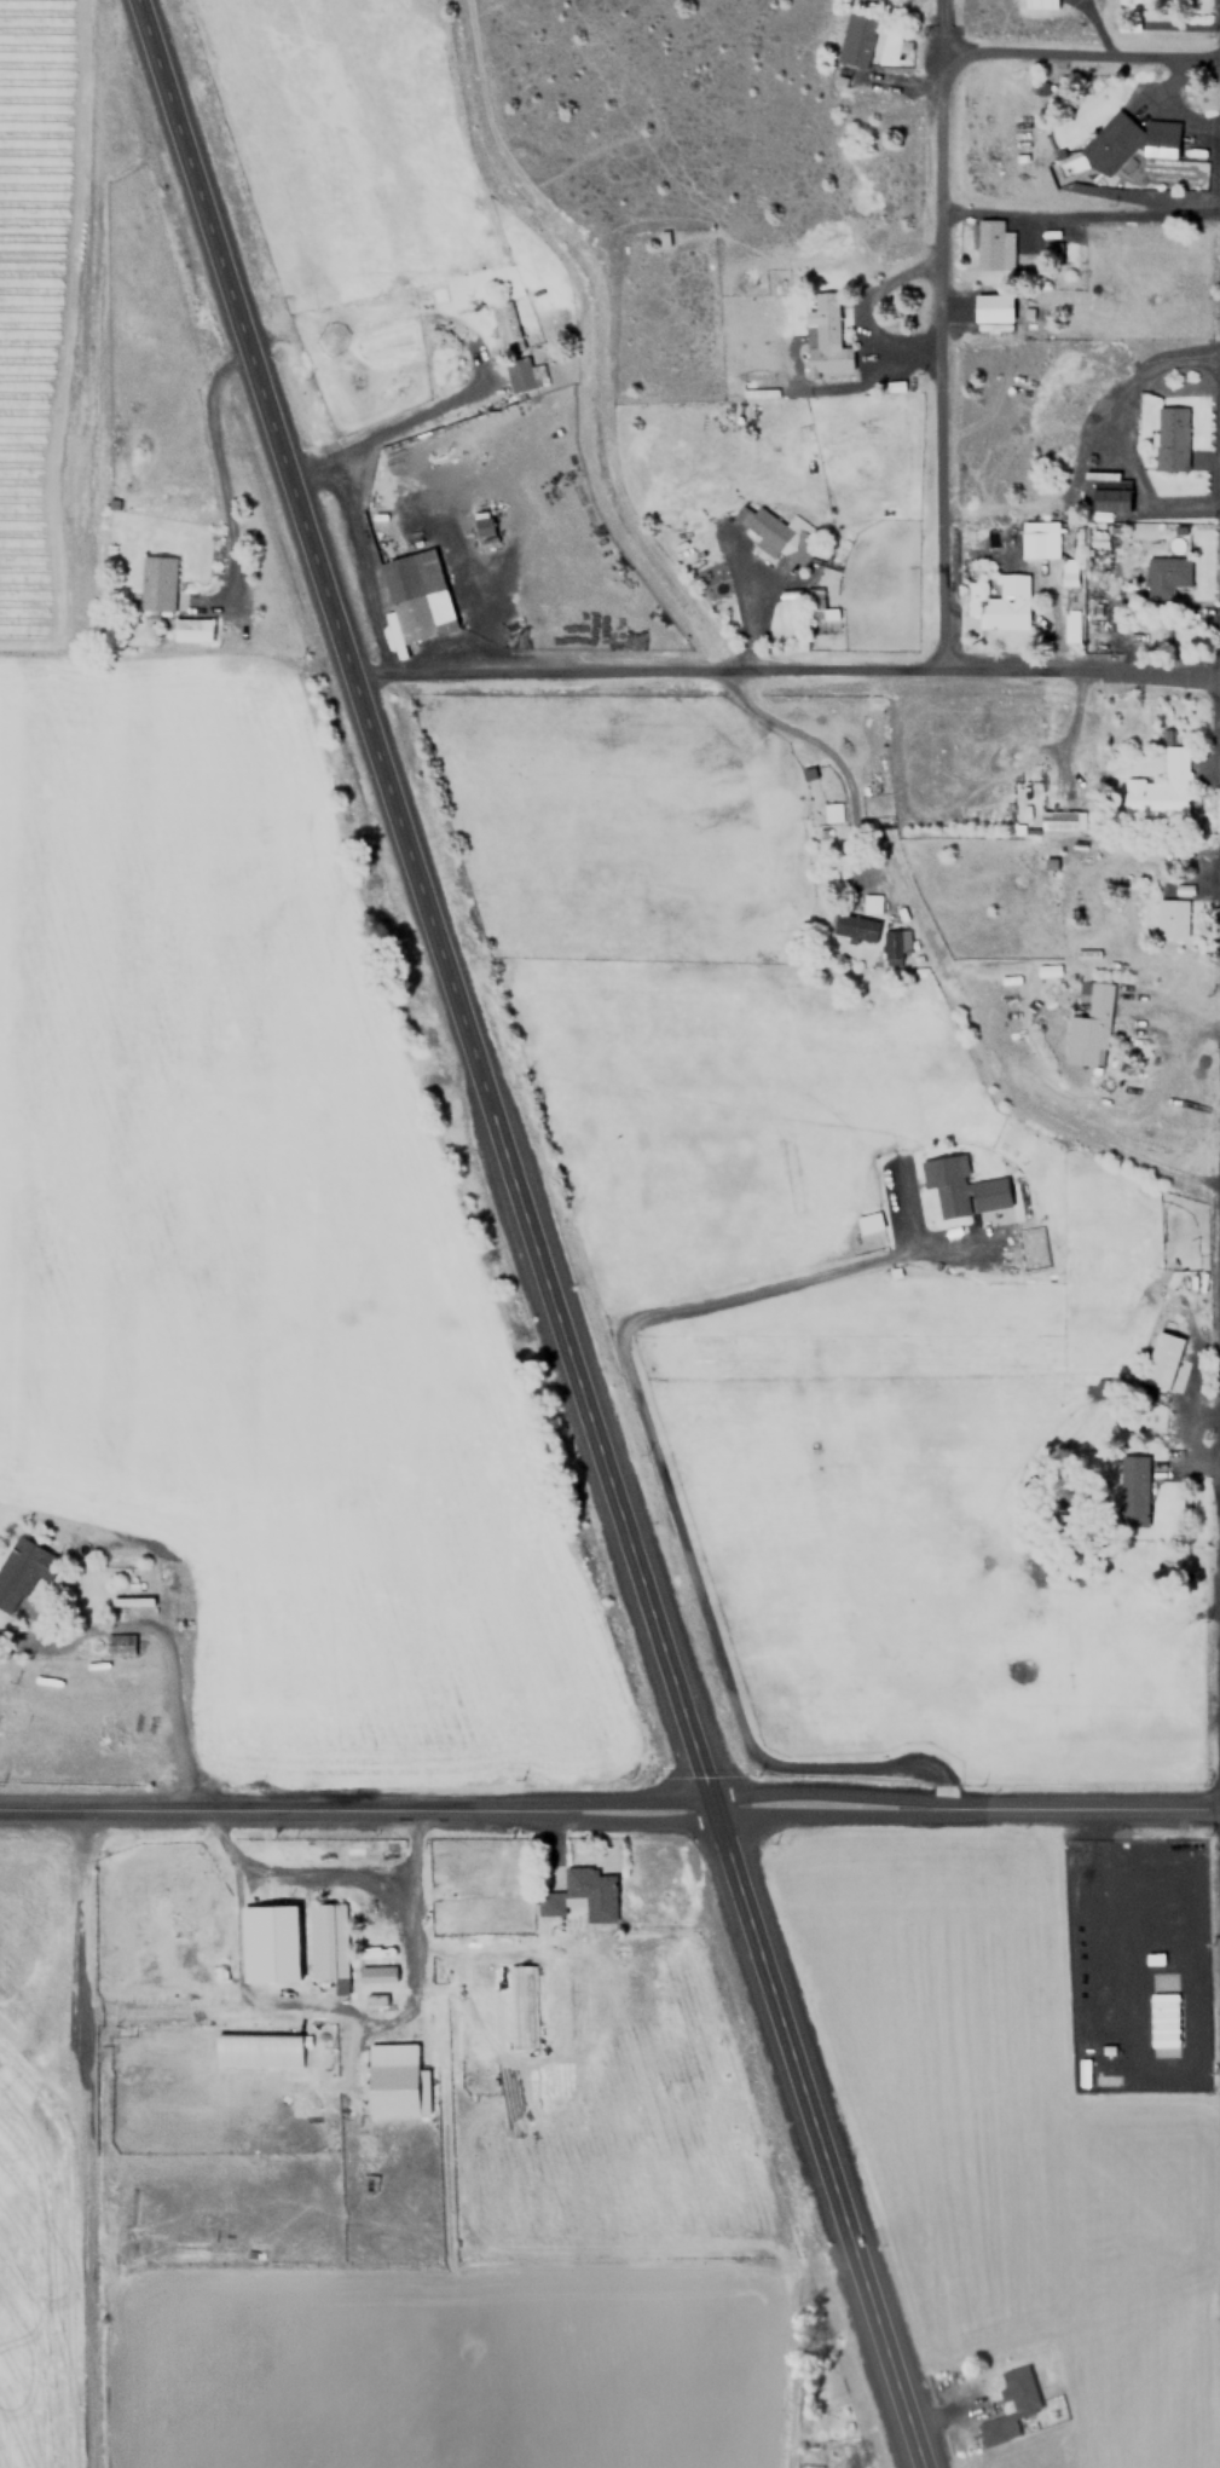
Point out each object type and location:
building: (1040, 4)
road: (942, 27)
building: (856, 39)
road: (1081, 57)
building: (1128, 140)
road: (1082, 210)
building: (990, 245)
building: (991, 311)
building: (504, 325)
building: (823, 334)
road: (944, 358)
building: (521, 374)
road: (410, 416)
building: (1170, 438)
building: (1110, 496)
building: (775, 534)
building: (1037, 539)
building: (1066, 571)
building: (1167, 572)
building: (155, 583)
building: (1070, 596)
building: (415, 599)
building: (998, 600)
building: (811, 603)
building: (1069, 628)
building: (191, 630)
road: (784, 665)
building: (1160, 786)
building: (1060, 819)
building: (871, 902)
building: (1170, 918)
building: (855, 926)
building: (895, 942)
building: (1088, 1025)
building: (960, 1186)
road: (525, 1233)
building: (1163, 1357)
road: (657, 1464)
building: (1132, 1486)
building: (23, 1571)
building: (109, 1643)
road: (166, 1664)
road: (354, 1810)
road: (964, 1813)
building: (591, 1891)
building: (549, 1903)
building: (328, 1940)
building: (268, 1942)
building: (378, 1973)
building: (522, 1984)
building: (377, 1998)
building: (1161, 2019)
building: (392, 2079)
crop: (46, 2177)
crop: (615, 2223)
building: (1008, 2404)

